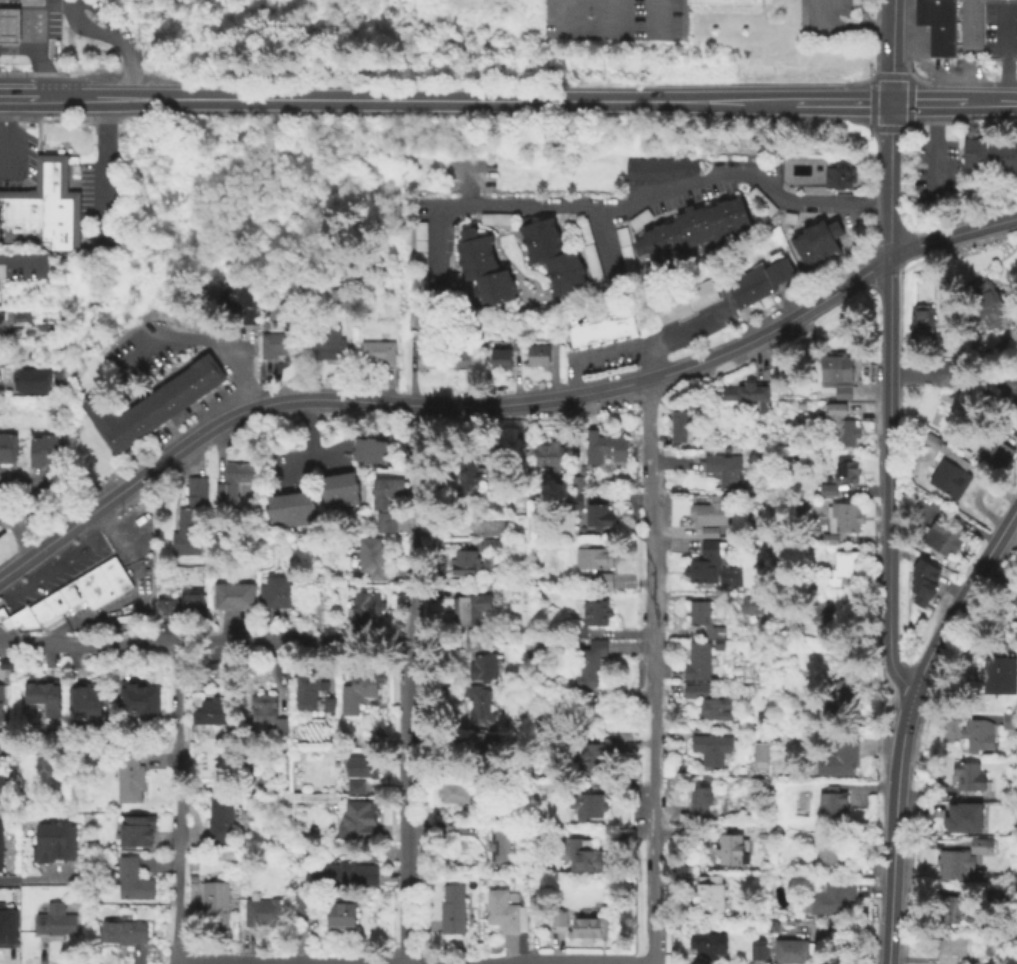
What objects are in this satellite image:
building: (15, 0)
road: (49, 3)
building: (722, 3)
road: (30, 9)
road: (861, 13)
road: (559, 19)
road: (611, 19)
road: (657, 20)
building: (973, 22)
road: (15, 24)
building: (8, 25)
gas station: (8, 25)
building: (935, 25)
road: (847, 27)
road: (31, 30)
road: (119, 31)
road: (88, 36)
road: (15, 38)
road: (891, 50)
road: (1003, 57)
road: (37, 59)
road: (929, 68)
road: (17, 97)
road: (413, 99)
road: (841, 101)
traffic signals: (891, 102)
road: (928, 102)
road: (990, 102)
road: (932, 153)
building: (989, 155)
building: (657, 167)
road: (104, 172)
building: (48, 174)
building: (838, 176)
road: (891, 181)
road: (637, 199)
building: (8, 211)
building: (28, 213)
building: (59, 221)
building: (691, 229)
road: (952, 236)
building: (815, 240)
building: (551, 254)
road: (21, 259)
building: (481, 266)
building: (358, 278)
building: (759, 283)
building: (337, 298)
building: (232, 300)
building: (243, 300)
building: (987, 302)
building: (686, 303)
building: (922, 321)
building: (411, 325)
building: (600, 331)
road: (200, 342)
building: (554, 343)
building: (276, 346)
building: (326, 346)
road: (633, 351)
building: (463, 354)
building: (377, 355)
building: (504, 356)
building: (537, 356)
building: (427, 360)
road: (649, 364)
building: (945, 372)
building: (834, 373)
building: (29, 376)
road: (662, 376)
building: (30, 388)
building: (1012, 396)
building: (748, 397)
building: (675, 404)
building: (799, 404)
building: (150, 407)
building: (841, 424)
building: (678, 427)
road: (306, 430)
building: (931, 440)
building: (371, 443)
road: (188, 445)
building: (607, 445)
building: (7, 450)
building: (44, 451)
building: (993, 451)
building: (369, 455)
building: (552, 455)
road: (305, 462)
building: (845, 470)
building: (726, 471)
building: (469, 475)
building: (946, 476)
building: (231, 482)
building: (350, 487)
building: (339, 488)
building: (825, 488)
building: (328, 490)
building: (387, 492)
building: (577, 492)
road: (889, 492)
building: (49, 497)
road: (21, 498)
building: (192, 503)
building: (307, 506)
building: (296, 508)
building: (285, 509)
building: (273, 511)
building: (711, 511)
building: (600, 515)
building: (840, 519)
road: (6, 521)
building: (386, 521)
building: (711, 531)
building: (755, 532)
building: (489, 534)
building: (941, 536)
road: (22, 541)
building: (186, 541)
building: (594, 556)
road: (413, 557)
building: (371, 559)
building: (470, 564)
building: (710, 566)
building: (843, 566)
road: (51, 568)
building: (113, 578)
building: (921, 579)
building: (605, 581)
building: (92, 590)
building: (277, 595)
road: (134, 597)
building: (235, 597)
building: (64, 599)
building: (1014, 599)
building: (749, 604)
building: (195, 605)
building: (363, 607)
building: (168, 608)
building: (47, 609)
building: (823, 609)
building: (474, 610)
building: (598, 614)
building: (705, 618)
building: (24, 619)
building: (578, 629)
building: (821, 631)
road: (203, 643)
building: (478, 644)
building: (537, 644)
building: (699, 662)
building: (592, 666)
building: (484, 669)
road: (650, 672)
building: (998, 673)
building: (358, 690)
building: (694, 690)
building: (44, 694)
building: (1, 696)
building: (307, 696)
building: (843, 697)
building: (85, 699)
building: (138, 699)
building: (480, 706)
building: (718, 710)
building: (217, 713)
building: (267, 713)
road: (903, 718)
building: (1009, 720)
building: (977, 734)
building: (477, 741)
building: (710, 749)
building: (3, 753)
building: (761, 754)
building: (839, 755)
building: (597, 758)
building: (361, 768)
building: (967, 774)
building: (132, 779)
building: (3, 785)
building: (356, 788)
building: (454, 795)
building: (700, 802)
building: (830, 802)
road: (408, 803)
road: (178, 804)
building: (590, 804)
building: (962, 817)
building: (764, 819)
building: (225, 820)
building: (361, 824)
building: (138, 830)
building: (1, 844)
building: (980, 845)
building: (55, 847)
building: (500, 848)
building: (734, 851)
building: (825, 853)
building: (581, 856)
building: (957, 865)
building: (344, 874)
road: (28, 879)
building: (134, 879)
building: (711, 896)
building: (831, 896)
building: (216, 905)
building: (305, 907)
building: (949, 907)
building: (263, 911)
building: (454, 912)
building: (507, 913)
building: (342, 915)
building: (55, 919)
building: (558, 920)
building: (7, 927)
building: (124, 931)
building: (588, 931)
building: (711, 946)
building: (950, 948)
building: (760, 952)
building: (792, 952)

